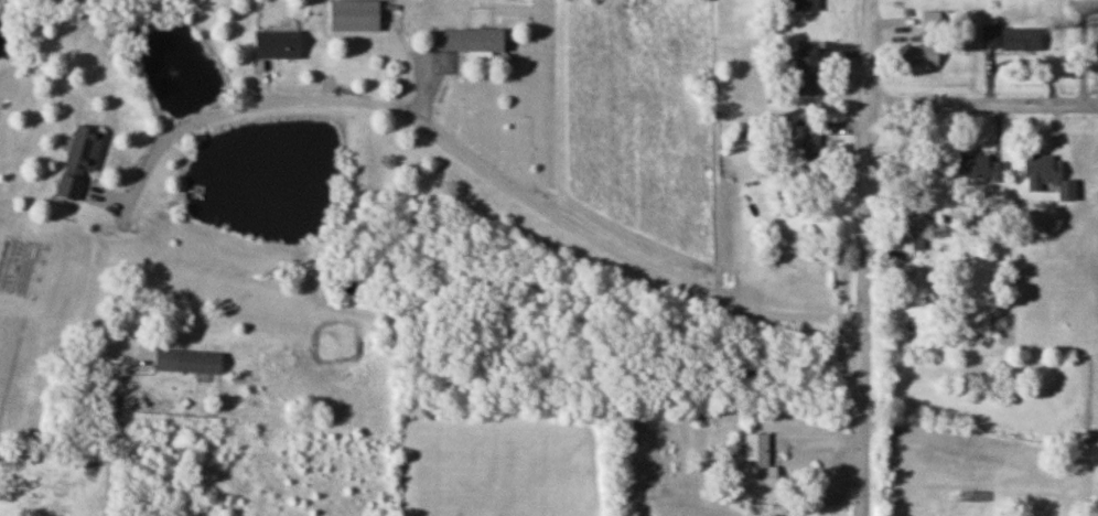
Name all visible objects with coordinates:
building: (806, 4)
building: (353, 15)
building: (932, 19)
building: (1009, 37)
building: (467, 39)
building: (276, 43)
road: (868, 51)
building: (919, 54)
building: (805, 69)
road: (341, 98)
road: (982, 101)
building: (808, 143)
building: (77, 160)
building: (972, 165)
building: (1038, 165)
building: (909, 229)
road: (862, 308)
building: (186, 358)
building: (757, 460)

